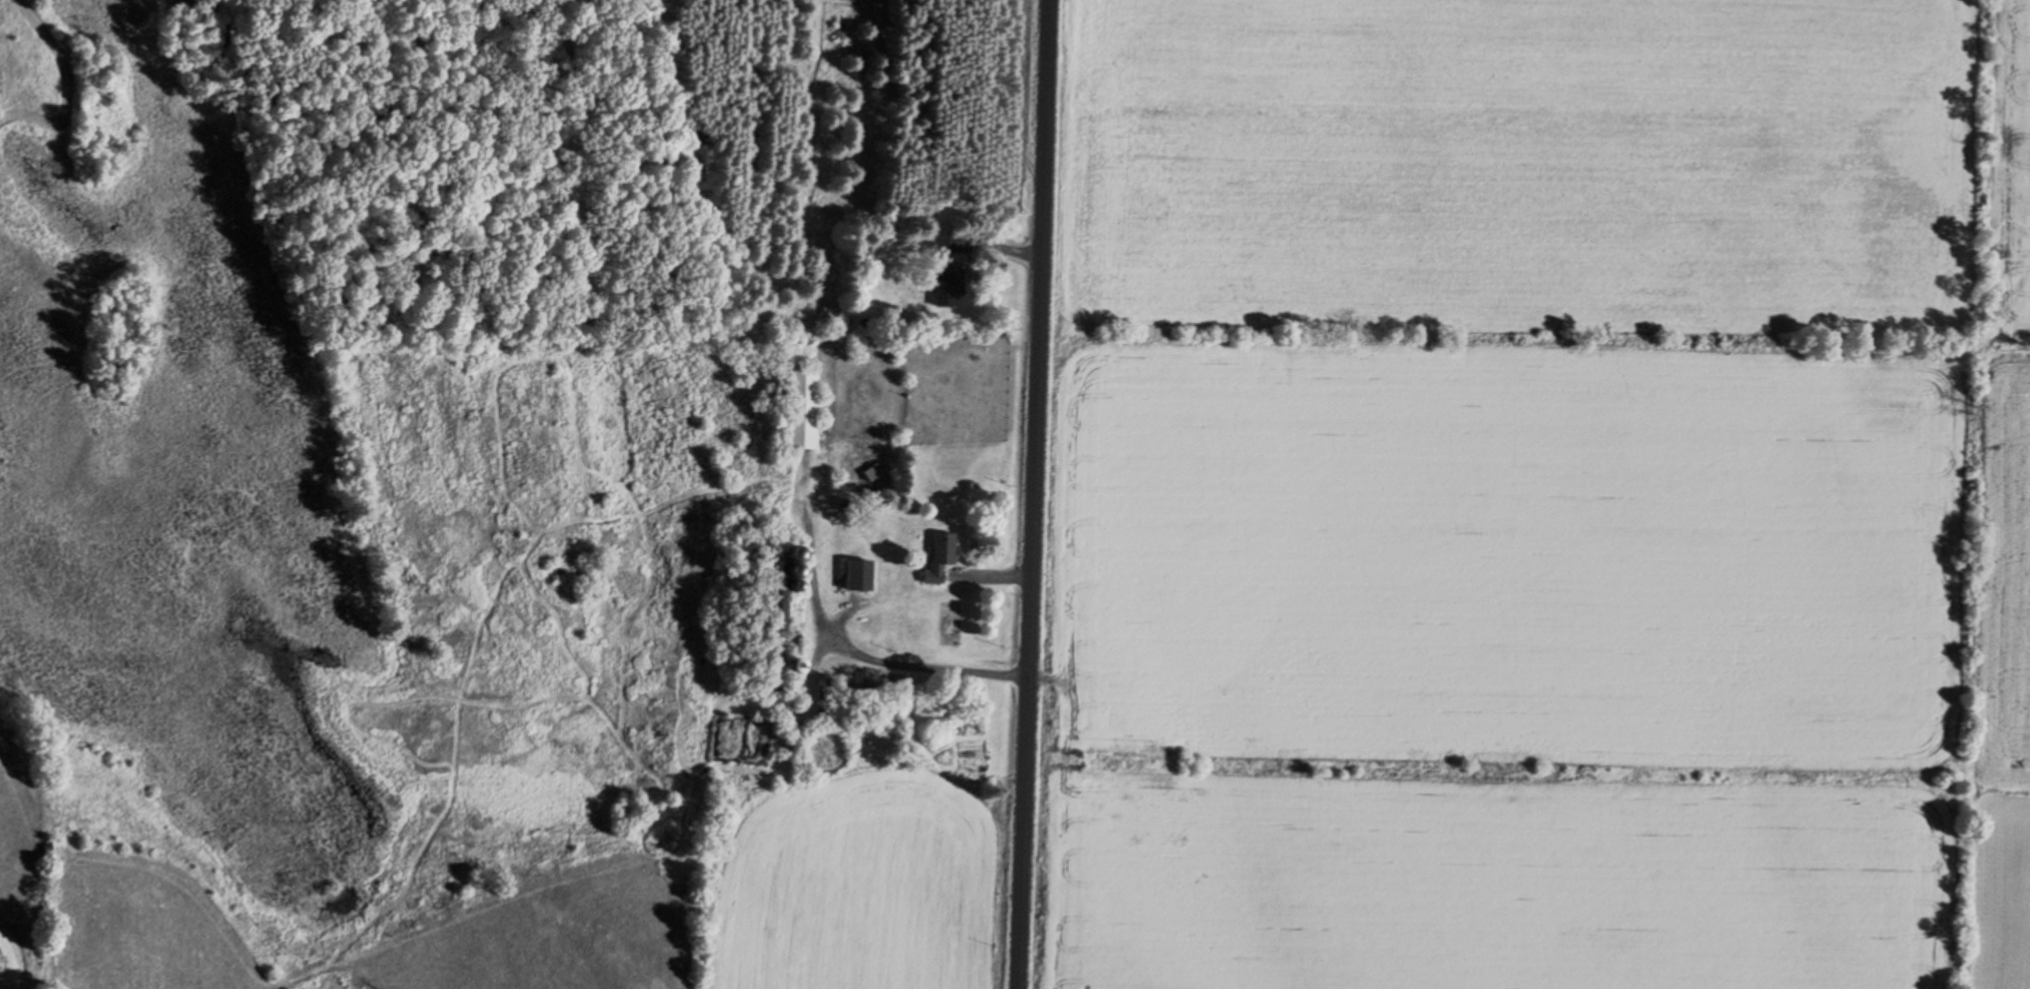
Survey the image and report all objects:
building: (960, 243)
building: (950, 288)
building: (803, 410)
road: (1039, 494)
building: (943, 557)
building: (861, 575)
building: (776, 631)

